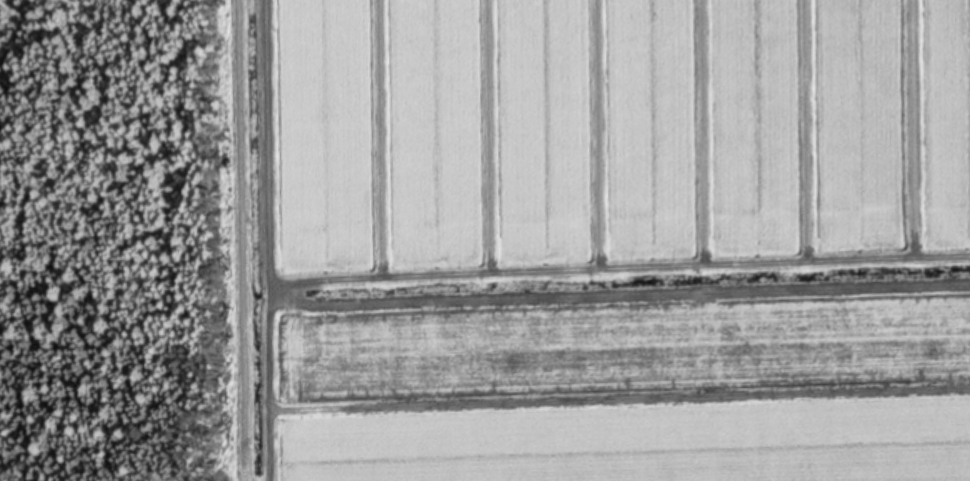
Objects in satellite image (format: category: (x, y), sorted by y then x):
crop: (604, 240)

